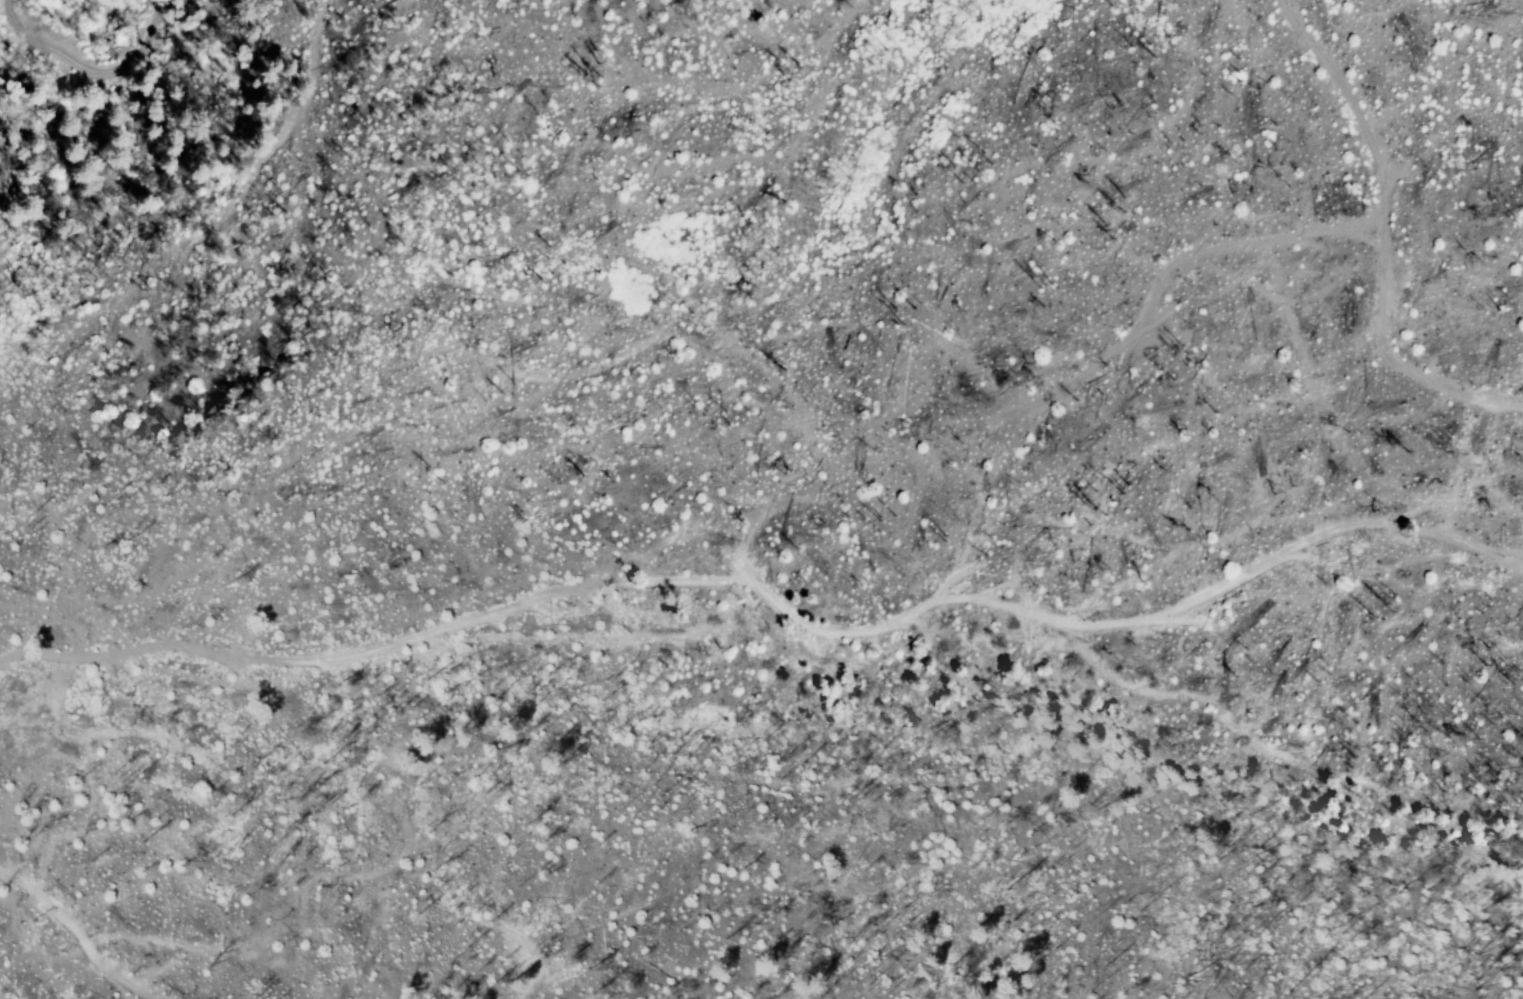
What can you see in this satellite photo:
road: (88, 53)
road: (1384, 230)
road: (770, 592)

